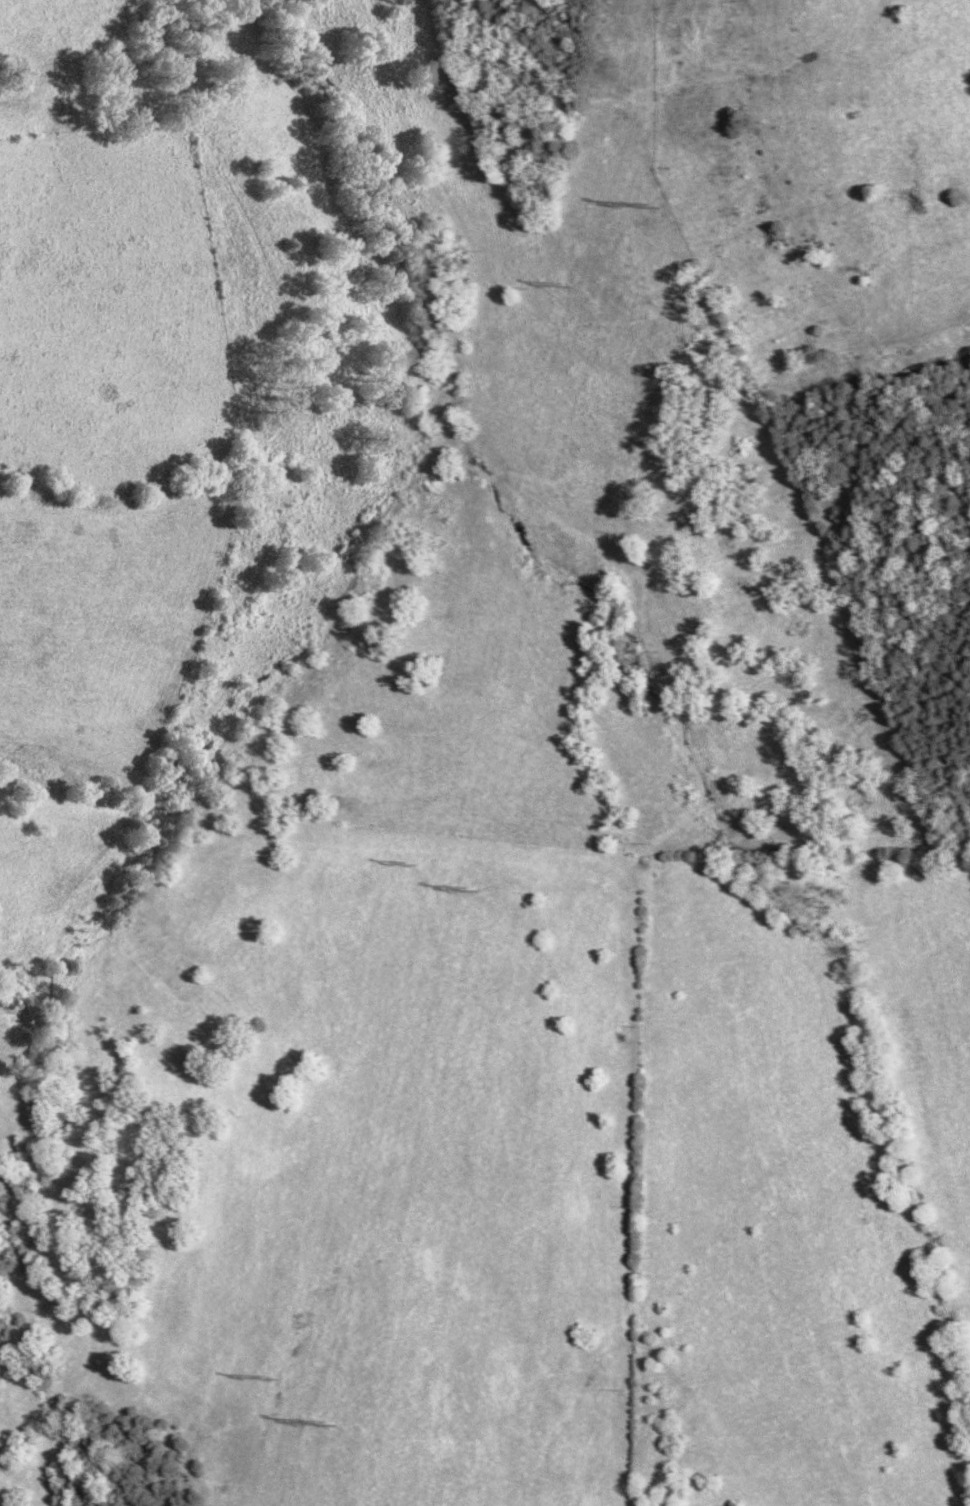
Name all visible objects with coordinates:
power tower: (649, 202)
power tower: (468, 889)
power tower: (325, 1425)

